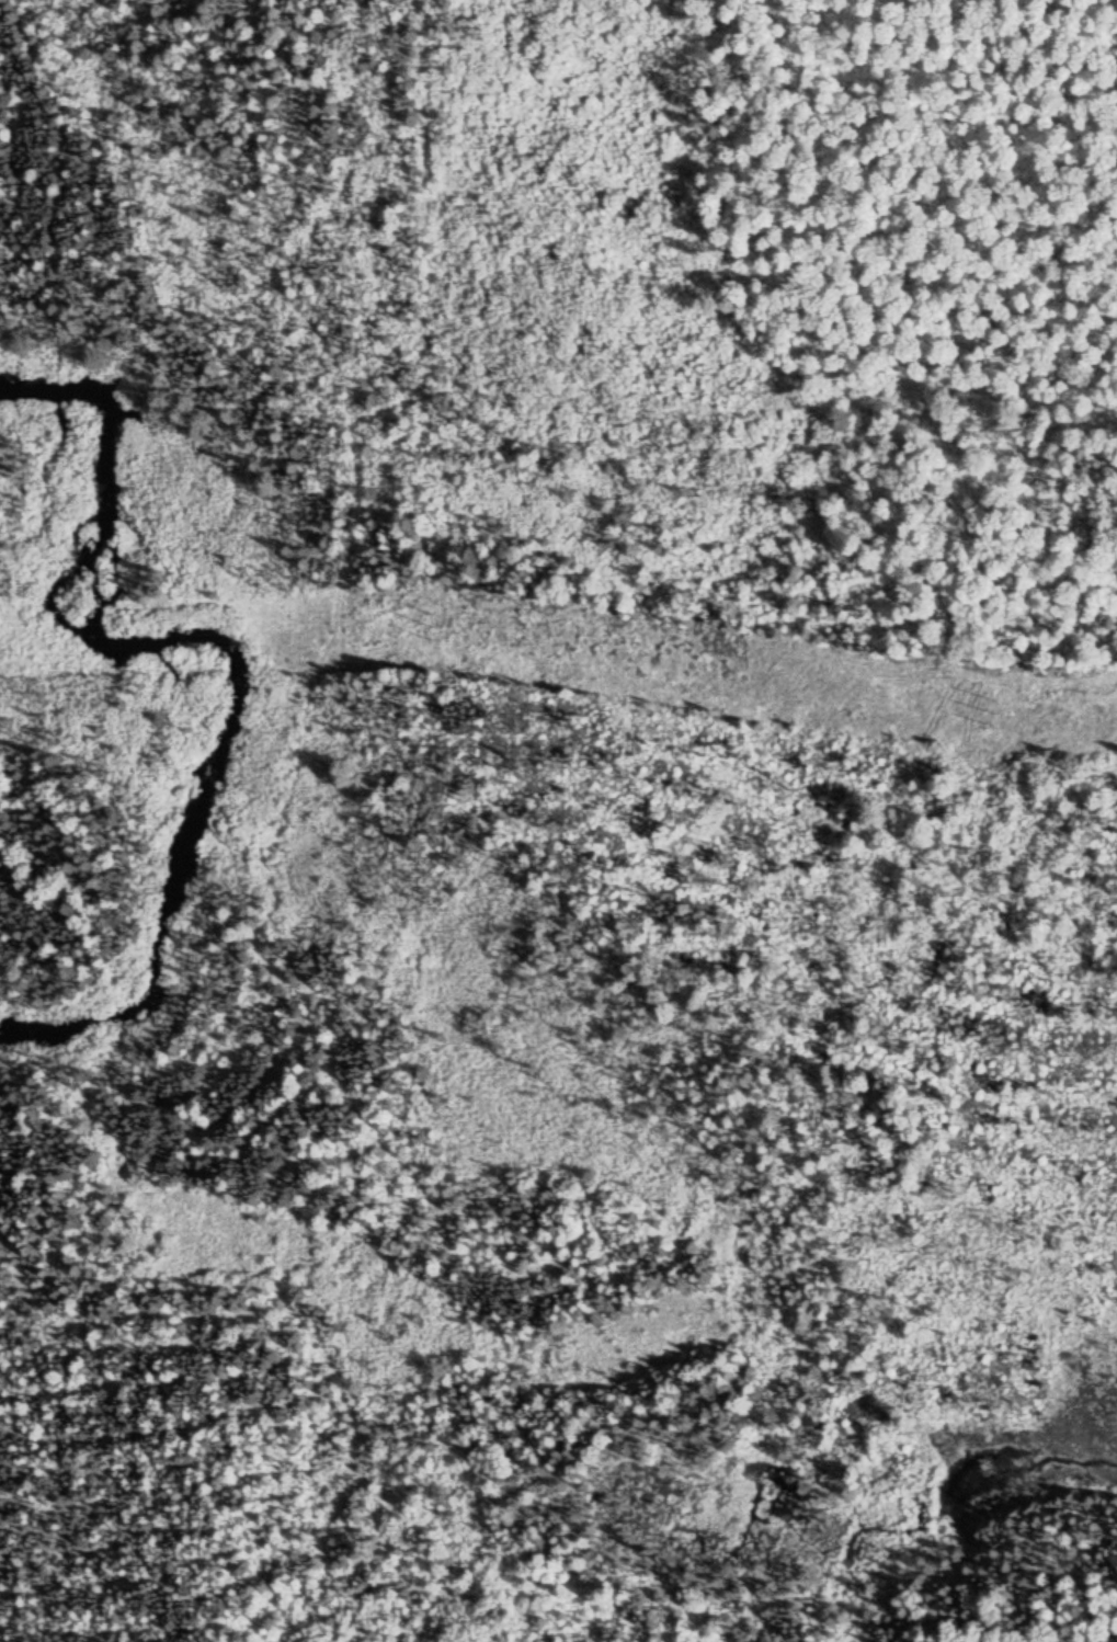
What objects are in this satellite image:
power tower: (443, 636)
river: (210, 700)
power tower: (1052, 703)

